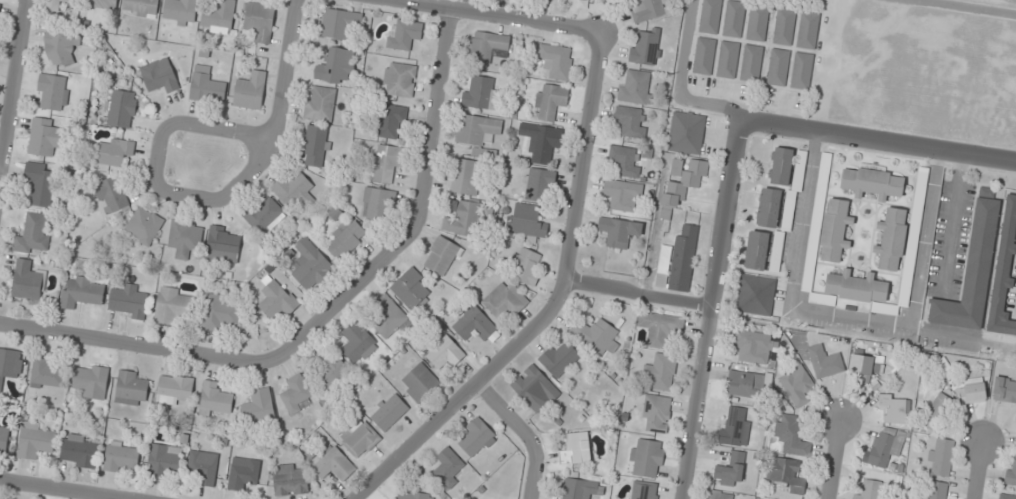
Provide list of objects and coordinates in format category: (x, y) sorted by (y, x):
building: (56, 4)
building: (101, 4)
building: (141, 7)
building: (651, 10)
building: (180, 12)
road: (493, 16)
building: (709, 16)
building: (218, 17)
building: (734, 19)
building: (259, 21)
building: (338, 23)
building: (757, 23)
building: (784, 26)
building: (808, 30)
building: (403, 34)
building: (64, 46)
building: (487, 47)
building: (646, 49)
building: (704, 56)
building: (727, 59)
building: (556, 60)
building: (751, 63)
building: (336, 65)
building: (778, 67)
building: (801, 71)
road: (286, 74)
building: (159, 76)
building: (399, 79)
building: (635, 86)
building: (208, 87)
road: (13, 88)
building: (250, 90)
building: (53, 92)
building: (480, 93)
building: (549, 101)
building: (320, 103)
building: (120, 108)
building: (392, 121)
building: (631, 121)
road: (434, 122)
road: (191, 125)
building: (477, 129)
building: (686, 132)
building: (44, 137)
road: (877, 141)
building: (541, 143)
building: (316, 146)
building: (114, 151)
building: (625, 160)
building: (385, 164)
building: (781, 166)
building: (824, 175)
building: (465, 177)
building: (681, 181)
building: (40, 182)
building: (872, 183)
building: (539, 184)
building: (294, 190)
building: (111, 194)
building: (623, 195)
building: (378, 204)
building: (768, 207)
building: (265, 215)
building: (461, 218)
building: (527, 220)
building: (143, 226)
building: (834, 228)
building: (619, 231)
building: (33, 235)
building: (185, 238)
building: (345, 238)
building: (891, 239)
building: (222, 244)
building: (757, 250)
building: (777, 252)
building: (442, 255)
building: (678, 260)
building: (810, 260)
building: (310, 266)
building: (528, 266)
building: (972, 270)
building: (1004, 271)
building: (27, 280)
building: (411, 288)
building: (82, 292)
road: (637, 294)
building: (756, 294)
building: (277, 300)
building: (505, 300)
building: (129, 301)
building: (172, 305)
road: (555, 305)
road: (707, 308)
building: (220, 312)
building: (387, 316)
building: (473, 323)
building: (660, 328)
building: (596, 335)
building: (357, 342)
building: (752, 345)
building: (442, 352)
building: (559, 359)
road: (230, 360)
building: (824, 361)
building: (865, 365)
building: (9, 366)
building: (944, 367)
building: (329, 368)
building: (661, 372)
building: (46, 374)
building: (91, 380)
building: (419, 382)
building: (745, 384)
building: (798, 384)
building: (130, 389)
building: (535, 389)
building: (1004, 389)
building: (175, 390)
building: (972, 390)
building: (297, 394)
building: (215, 399)
building: (259, 405)
building: (896, 408)
building: (936, 410)
building: (388, 411)
building: (656, 412)
building: (734, 425)
road: (526, 433)
building: (791, 434)
building: (360, 438)
building: (476, 438)
building: (4, 439)
building: (35, 440)
building: (886, 446)
building: (575, 449)
building: (79, 450)
building: (940, 456)
building: (121, 457)
building: (646, 458)
road: (833, 459)
building: (163, 461)
building: (333, 464)
building: (449, 466)
building: (203, 467)
road: (976, 470)
building: (1011, 473)
building: (243, 474)
building: (728, 474)
building: (786, 474)
building: (290, 479)
road: (61, 489)
building: (579, 489)
building: (868, 489)
building: (642, 490)
building: (935, 490)
building: (413, 495)
building: (721, 495)
building: (1008, 496)

